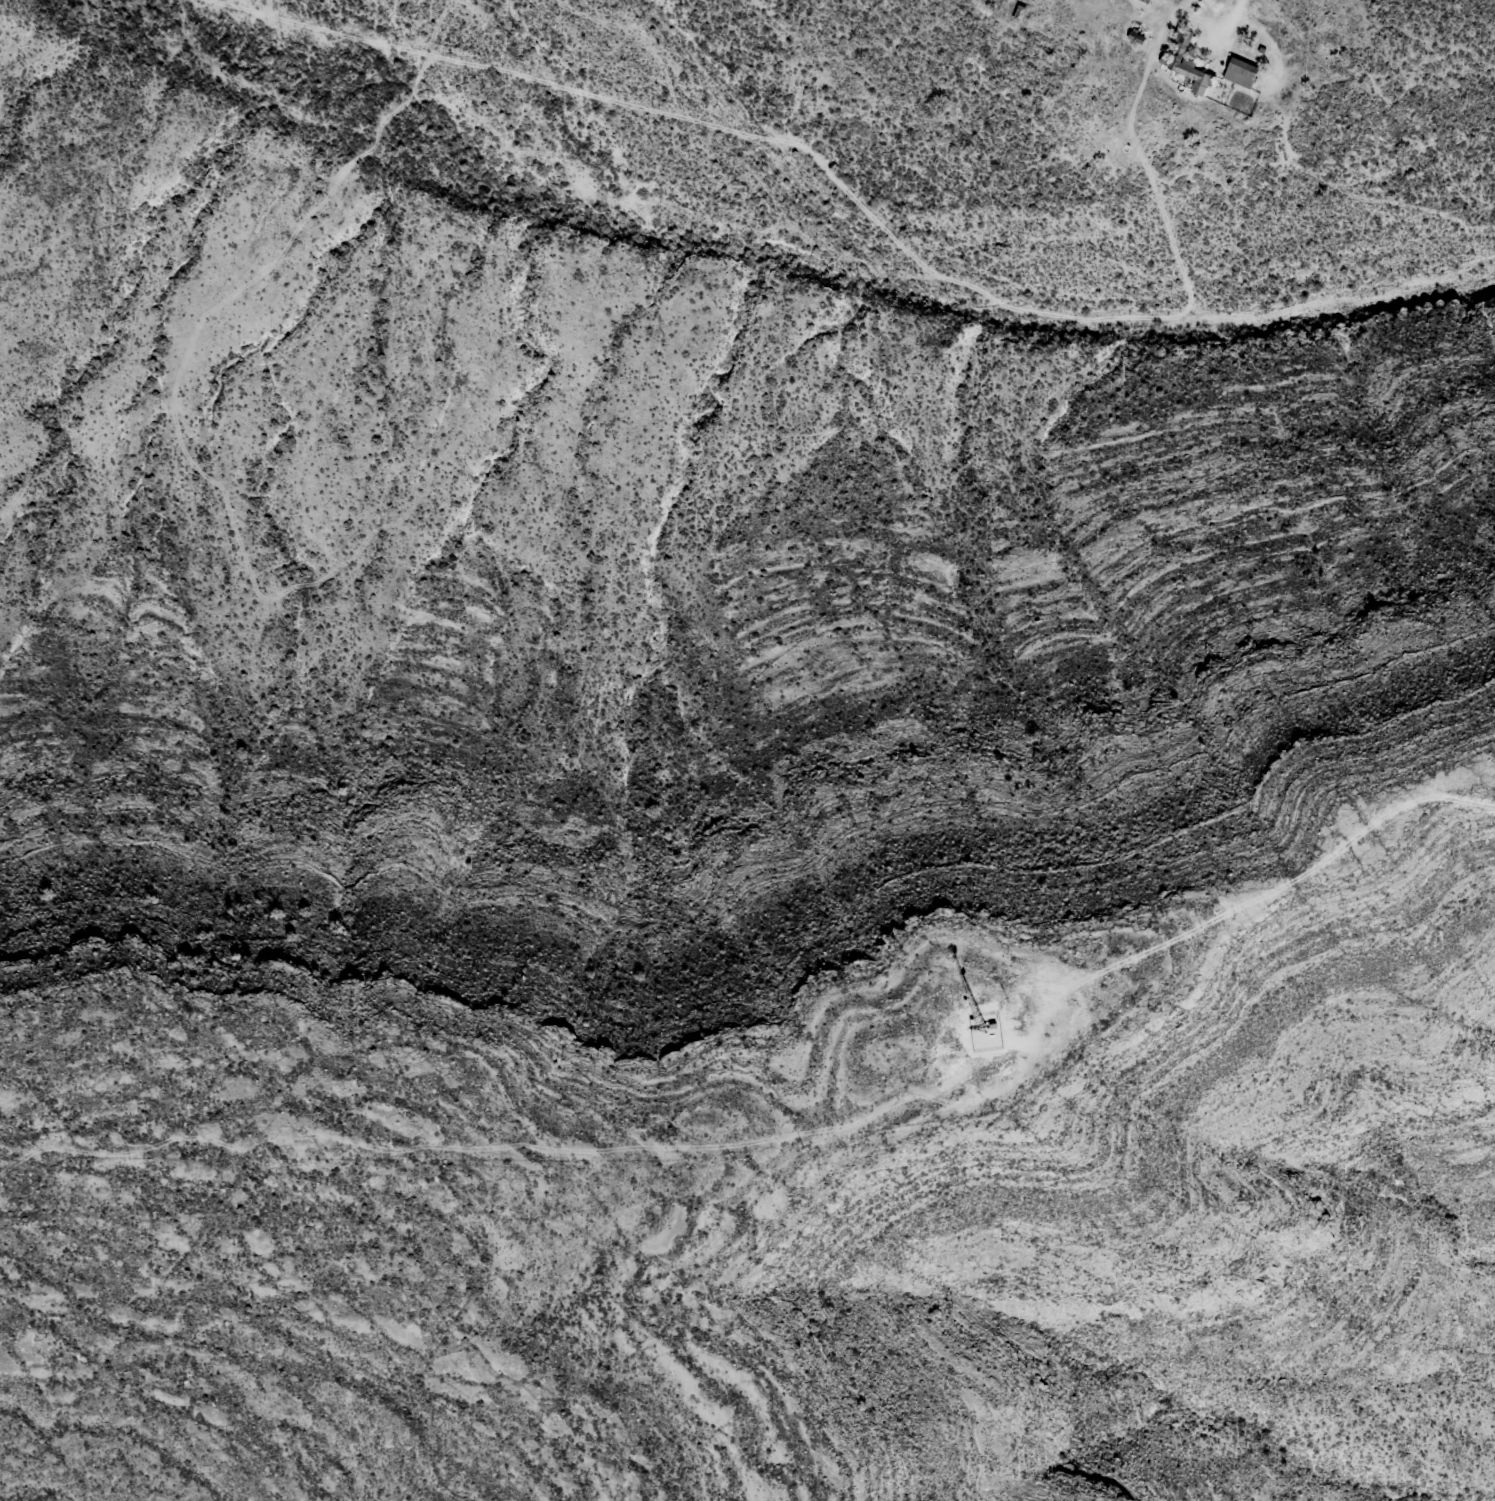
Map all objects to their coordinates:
building: (1140, 0)
building: (1018, 13)
road: (1228, 15)
building: (1187, 61)
building: (1240, 72)
road: (797, 1133)

